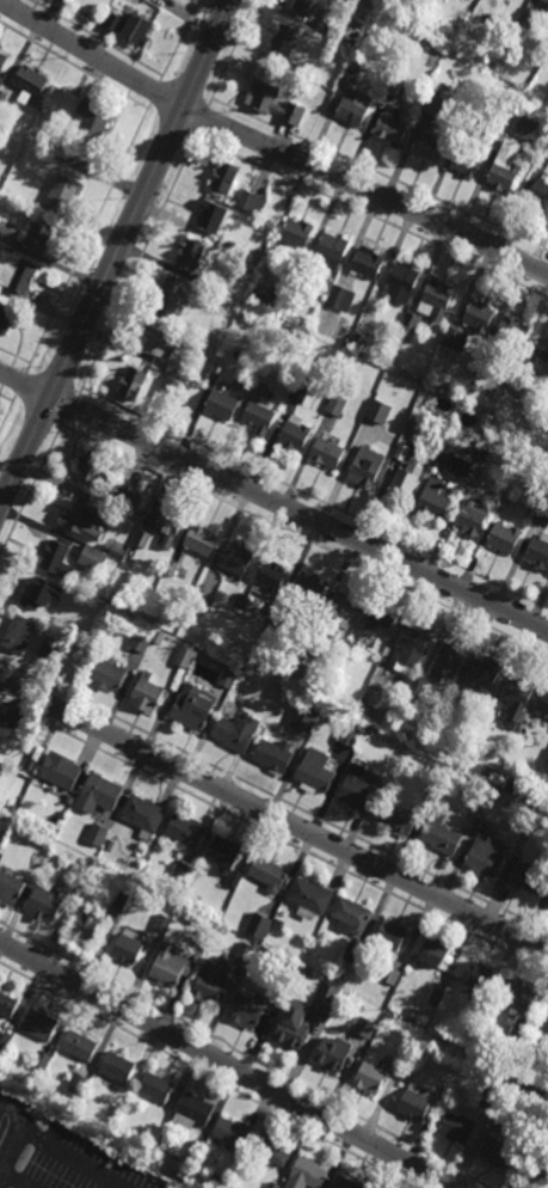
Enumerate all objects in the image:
building: (365, 0)
building: (306, 6)
building: (546, 10)
building: (474, 20)
building: (528, 20)
building: (131, 27)
building: (325, 27)
building: (284, 39)
road: (180, 42)
road: (91, 53)
road: (232, 53)
building: (357, 55)
building: (2, 60)
building: (353, 67)
building: (304, 69)
building: (30, 79)
building: (426, 79)
building: (525, 81)
building: (394, 84)
building: (436, 87)
building: (273, 102)
building: (433, 104)
building: (355, 109)
building: (90, 121)
building: (521, 124)
building: (392, 125)
building: (547, 145)
building: (429, 146)
building: (468, 159)
building: (505, 166)
building: (223, 177)
road: (365, 189)
building: (62, 192)
building: (537, 196)
building: (251, 202)
building: (213, 213)
building: (41, 235)
building: (295, 235)
road: (86, 239)
building: (228, 243)
road: (113, 246)
building: (331, 250)
building: (190, 255)
building: (367, 262)
road: (137, 264)
building: (16, 270)
building: (215, 282)
building: (401, 282)
building: (170, 295)
building: (265, 298)
building: (340, 298)
building: (436, 298)
building: (479, 316)
building: (6, 317)
building: (224, 327)
building: (291, 331)
building: (512, 331)
building: (401, 336)
building: (455, 338)
building: (160, 339)
building: (193, 339)
building: (344, 341)
building: (357, 342)
building: (541, 354)
building: (486, 365)
building: (267, 373)
building: (419, 373)
building: (519, 374)
building: (302, 376)
building: (133, 384)
road: (19, 385)
building: (457, 387)
building: (171, 388)
building: (298, 393)
building: (547, 396)
building: (335, 404)
building: (222, 405)
road: (70, 408)
road: (7, 411)
building: (378, 411)
building: (260, 417)
building: (415, 428)
building: (294, 434)
building: (327, 451)
building: (469, 451)
building: (404, 452)
building: (457, 467)
building: (91, 470)
building: (363, 470)
building: (404, 482)
road: (32, 488)
building: (505, 496)
building: (125, 497)
building: (436, 497)
road: (273, 501)
building: (542, 509)
building: (469, 518)
building: (79, 519)
building: (168, 526)
building: (504, 535)
building: (141, 538)
building: (199, 539)
building: (119, 551)
building: (537, 551)
building: (54, 556)
building: (92, 558)
building: (233, 562)
building: (170, 567)
building: (271, 574)
building: (307, 588)
building: (41, 590)
building: (199, 605)
building: (339, 612)
building: (275, 616)
building: (380, 620)
building: (59, 621)
building: (18, 632)
building: (144, 639)
building: (412, 644)
building: (350, 645)
building: (53, 649)
building: (185, 654)
building: (304, 655)
building: (447, 661)
building: (484, 670)
building: (106, 672)
building: (227, 676)
building: (414, 688)
building: (147, 693)
building: (518, 694)
building: (543, 702)
building: (451, 703)
building: (192, 706)
building: (304, 715)
building: (7, 727)
building: (524, 729)
building: (235, 730)
building: (349, 734)
building: (273, 754)
building: (547, 761)
building: (30, 764)
building: (60, 770)
building: (314, 771)
building: (489, 772)
building: (359, 789)
building: (431, 789)
building: (479, 792)
building: (98, 794)
building: (12, 807)
building: (143, 814)
road: (273, 815)
building: (398, 816)
building: (480, 826)
building: (185, 832)
building: (97, 834)
building: (439, 834)
building: (109, 846)
building: (223, 851)
building: (487, 856)
building: (35, 861)
building: (133, 871)
building: (183, 871)
building: (269, 872)
building: (527, 876)
building: (234, 877)
building: (10, 887)
building: (309, 894)
building: (121, 900)
building: (47, 902)
building: (351, 916)
building: (164, 921)
building: (87, 924)
building: (258, 924)
building: (278, 924)
building: (392, 933)
building: (128, 949)
building: (245, 951)
building: (433, 951)
building: (352, 956)
building: (171, 967)
building: (304, 973)
building: (394, 975)
building: (478, 975)
building: (213, 981)
building: (283, 987)
building: (518, 992)
building: (436, 996)
building: (7, 1004)
building: (544, 1010)
building: (250, 1011)
building: (413, 1011)
building: (306, 1014)
building: (39, 1023)
building: (363, 1024)
building: (521, 1027)
building: (4, 1041)
building: (80, 1046)
building: (333, 1053)
building: (404, 1055)
building: (41, 1060)
road: (226, 1065)
building: (116, 1066)
road: (207, 1076)
building: (371, 1077)
building: (79, 1084)
building: (156, 1088)
building: (444, 1090)
building: (488, 1095)
building: (414, 1102)
building: (529, 1109)
building: (117, 1110)
building: (547, 1110)
building: (195, 1112)
building: (456, 1127)
road: (14, 1129)
building: (234, 1134)
building: (271, 1150)
building: (499, 1151)
building: (207, 1153)
building: (186, 1161)
building: (536, 1171)
building: (309, 1172)
building: (347, 1182)
building: (272, 1184)

